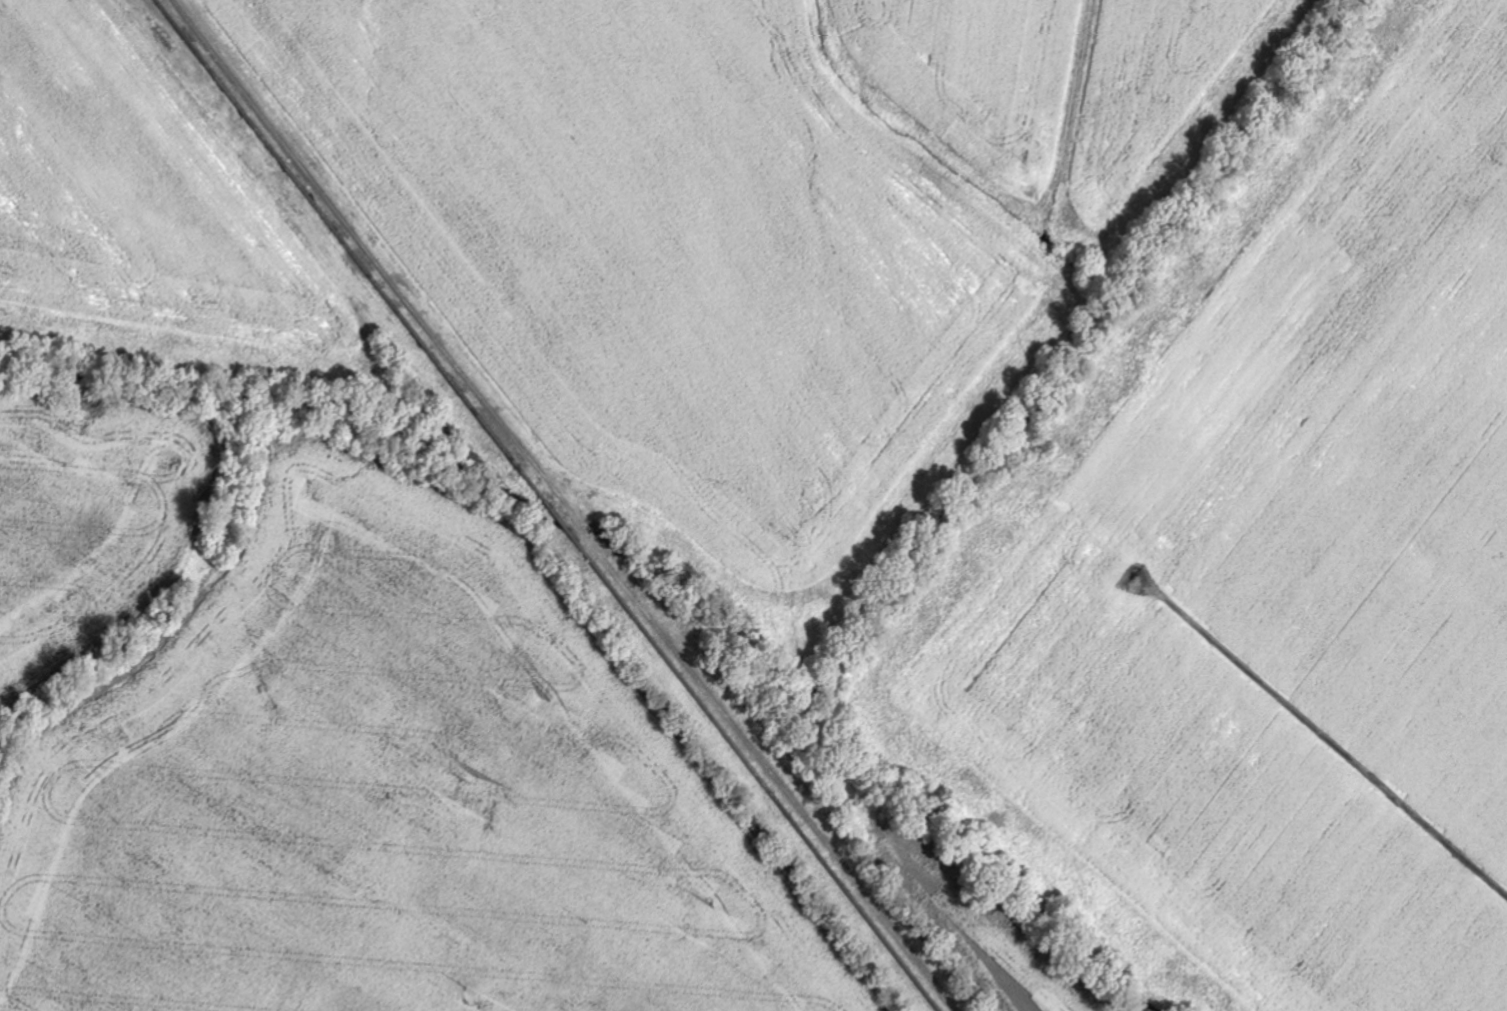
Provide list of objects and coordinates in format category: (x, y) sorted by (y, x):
road: (1347, 745)

